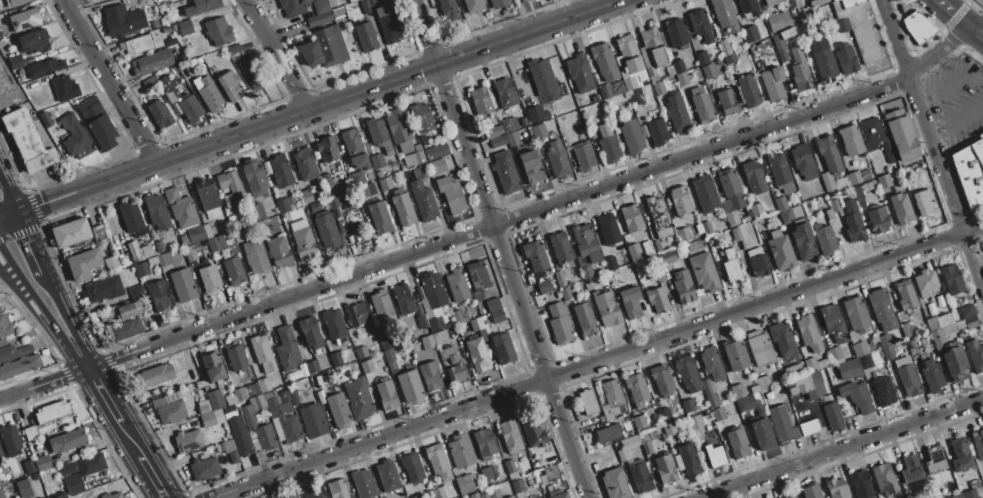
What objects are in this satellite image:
building: (523, 0)
building: (835, 0)
building: (158, 1)
building: (17, 2)
building: (377, 2)
building: (331, 3)
building: (500, 3)
building: (769, 3)
building: (851, 3)
building: (790, 4)
building: (814, 4)
building: (473, 5)
building: (199, 6)
building: (321, 6)
building: (292, 7)
building: (366, 7)
building: (748, 8)
building: (449, 10)
building: (838, 10)
building: (724, 14)
building: (319, 19)
building: (24, 20)
road: (958, 20)
building: (122, 21)
building: (776, 23)
building: (152, 24)
building: (389, 24)
building: (700, 25)
building: (843, 25)
building: (185, 27)
building: (918, 27)
building: (174, 28)
building: (165, 30)
building: (218, 31)
building: (675, 32)
building: (750, 33)
building: (787, 33)
building: (862, 34)
building: (1, 35)
building: (366, 37)
building: (34, 42)
building: (777, 42)
building: (140, 44)
building: (324, 47)
building: (725, 47)
building: (233, 49)
building: (652, 52)
road: (939, 54)
road: (277, 55)
building: (782, 55)
building: (627, 57)
building: (702, 58)
building: (730, 58)
building: (845, 59)
building: (822, 60)
building: (15, 61)
building: (604, 61)
building: (151, 62)
building: (192, 64)
building: (678, 66)
building: (44, 67)
building: (669, 70)
building: (800, 70)
building: (252, 71)
building: (709, 71)
building: (580, 73)
building: (643, 77)
building: (544, 79)
building: (682, 79)
road: (112, 80)
building: (599, 80)
road: (950, 81)
building: (148, 82)
building: (631, 82)
building: (773, 83)
building: (229, 85)
building: (165, 86)
building: (64, 88)
building: (658, 88)
building: (611, 89)
building: (7, 90)
building: (748, 90)
building: (208, 93)
building: (505, 93)
building: (635, 96)
building: (171, 98)
building: (595, 98)
building: (481, 101)
building: (727, 101)
building: (701, 105)
road: (320, 107)
building: (190, 109)
building: (718, 110)
building: (158, 111)
building: (676, 112)
building: (536, 113)
building: (613, 113)
building: (421, 118)
road: (956, 121)
building: (97, 122)
building: (506, 125)
building: (399, 129)
building: (604, 130)
building: (538, 131)
building: (657, 131)
building: (493, 132)
building: (379, 135)
building: (901, 135)
building: (75, 137)
building: (512, 137)
building: (631, 137)
building: (875, 138)
building: (423, 140)
building: (851, 140)
building: (28, 141)
building: (497, 141)
road: (931, 144)
building: (326, 149)
building: (354, 149)
building: (609, 149)
building: (435, 151)
building: (583, 155)
building: (414, 157)
building: (801, 159)
building: (377, 160)
building: (557, 160)
building: (305, 164)
building: (830, 164)
building: (436, 167)
building: (530, 167)
building: (280, 171)
building: (420, 171)
building: (505, 172)
building: (780, 172)
building: (970, 172)
building: (379, 174)
building: (859, 175)
building: (753, 176)
building: (254, 177)
building: (357, 178)
building: (327, 179)
building: (884, 181)
building: (385, 183)
building: (869, 185)
building: (230, 189)
building: (366, 190)
building: (730, 190)
road: (9, 193)
building: (450, 194)
building: (704, 194)
building: (307, 196)
building: (207, 197)
building: (859, 197)
building: (921, 199)
building: (680, 200)
building: (423, 201)
building: (332, 202)
building: (780, 204)
building: (282, 205)
building: (834, 205)
building: (849, 206)
traffic signals: (36, 207)
building: (314, 207)
building: (402, 208)
building: (901, 208)
building: (181, 209)
building: (756, 210)
building: (796, 210)
road: (9, 211)
building: (155, 211)
building: (257, 211)
building: (829, 214)
building: (284, 215)
building: (337, 215)
building: (785, 215)
building: (657, 216)
road: (9, 217)
building: (130, 217)
building: (378, 217)
building: (631, 217)
building: (732, 218)
building: (878, 219)
building: (236, 222)
building: (706, 227)
building: (854, 227)
building: (699, 228)
building: (608, 229)
building: (326, 230)
building: (207, 231)
traffic signals: (28, 232)
building: (70, 232)
building: (99, 232)
building: (239, 234)
building: (683, 234)
building: (735, 234)
building: (824, 238)
building: (302, 239)
road: (454, 239)
building: (803, 241)
building: (202, 242)
building: (585, 243)
building: (215, 244)
road: (34, 245)
building: (656, 245)
building: (159, 246)
building: (560, 247)
road: (501, 248)
building: (647, 248)
building: (234, 249)
building: (780, 250)
building: (137, 251)
building: (193, 252)
building: (279, 252)
building: (634, 252)
building: (728, 254)
building: (535, 255)
building: (255, 256)
building: (666, 257)
building: (163, 259)
building: (757, 261)
building: (83, 263)
building: (111, 263)
building: (610, 263)
building: (141, 269)
building: (234, 270)
building: (732, 271)
building: (586, 272)
building: (703, 272)
building: (478, 275)
road: (14, 276)
building: (209, 278)
building: (952, 279)
building: (560, 280)
building: (924, 282)
building: (183, 285)
building: (456, 285)
building: (543, 286)
building: (683, 286)
building: (104, 289)
building: (433, 290)
building: (136, 292)
building: (563, 294)
building: (158, 295)
building: (906, 295)
building: (402, 299)
building: (657, 299)
building: (630, 302)
building: (381, 304)
building: (493, 305)
building: (426, 307)
building: (606, 308)
building: (882, 309)
building: (967, 311)
building: (120, 312)
road: (43, 314)
building: (357, 314)
building: (856, 314)
building: (497, 316)
building: (458, 317)
building: (585, 318)
building: (831, 318)
building: (944, 319)
building: (422, 321)
road: (69, 322)
building: (970, 322)
building: (435, 323)
building: (931, 323)
building: (476, 324)
building: (559, 324)
building: (334, 325)
building: (5, 326)
building: (952, 327)
building: (908, 328)
building: (126, 329)
building: (380, 330)
building: (310, 332)
building: (808, 333)
building: (483, 334)
building: (852, 337)
building: (782, 338)
building: (840, 338)
building: (884, 340)
building: (427, 342)
building: (385, 343)
building: (911, 343)
building: (502, 347)
building: (287, 348)
building: (759, 348)
building: (859, 348)
building: (14, 352)
road: (69, 352)
building: (263, 352)
building: (361, 352)
building: (834, 353)
building: (844, 353)
building: (888, 353)
building: (389, 354)
building: (477, 355)
building: (736, 355)
building: (974, 355)
building: (237, 358)
building: (335, 358)
road: (598, 361)
building: (954, 361)
building: (864, 362)
building: (711, 363)
building: (821, 363)
building: (19, 366)
building: (213, 366)
building: (312, 366)
building: (367, 366)
building: (454, 366)
building: (848, 369)
building: (687, 374)
building: (155, 375)
building: (430, 375)
building: (931, 375)
building: (325, 377)
building: (661, 380)
building: (908, 380)
building: (763, 383)
building: (804, 384)
building: (263, 385)
building: (410, 386)
building: (162, 389)
building: (252, 389)
building: (636, 389)
building: (754, 389)
building: (738, 391)
building: (883, 391)
building: (154, 392)
building: (240, 394)
building: (386, 394)
building: (710, 394)
road: (101, 396)
building: (769, 396)
building: (856, 396)
building: (172, 397)
building: (358, 398)
building: (611, 398)
building: (189, 399)
building: (215, 400)
building: (157, 402)
building: (281, 402)
building: (588, 402)
building: (257, 403)
building: (748, 405)
building: (688, 406)
building: (203, 409)
building: (337, 410)
building: (52, 411)
building: (171, 412)
building: (718, 413)
building: (663, 414)
building: (833, 416)
building: (218, 417)
building: (248, 417)
building: (674, 417)
building: (207, 419)
building: (313, 420)
building: (639, 422)
building: (694, 422)
building: (781, 424)
building: (680, 426)
building: (809, 427)
building: (290, 428)
building: (278, 429)
building: (669, 429)
building: (30, 432)
building: (761, 433)
building: (239, 434)
building: (534, 434)
building: (609, 434)
building: (265, 436)
building: (510, 436)
building: (647, 436)
road: (128, 438)
building: (10, 440)
building: (67, 441)
building: (188, 441)
building: (254, 441)
building: (484, 442)
building: (736, 443)
building: (978, 445)
building: (228, 446)
building: (628, 446)
building: (219, 448)
building: (646, 448)
road: (844, 448)
building: (460, 451)
building: (0, 454)
building: (602, 454)
building: (714, 455)
building: (960, 455)
building: (234, 457)
building: (689, 459)
building: (935, 460)
building: (42, 462)
building: (438, 462)
building: (90, 464)
building: (29, 466)
building: (412, 467)
building: (204, 468)
building: (665, 468)
building: (67, 469)
building: (510, 469)
building: (910, 469)
building: (495, 470)
building: (486, 473)
road: (151, 475)
building: (387, 476)
building: (639, 477)
building: (884, 478)
building: (627, 479)
building: (473, 481)
building: (974, 482)
building: (73, 484)
building: (363, 484)
building: (464, 484)
building: (614, 484)
building: (861, 484)
building: (0, 485)
building: (518, 486)
building: (23, 488)
building: (836, 488)
building: (336, 489)
building: (446, 491)
building: (811, 491)
building: (438, 492)
building: (493, 492)
building: (1, 493)
building: (313, 494)
building: (557, 494)
building: (969, 494)
building: (60, 495)
building: (112, 495)
building: (484, 495)
building: (294, 496)
building: (415, 496)
building: (787, 496)
building: (957, 496)
building: (43, 497)
building: (267, 497)
building: (386, 497)
building: (511, 497)
building: (905, 497)

